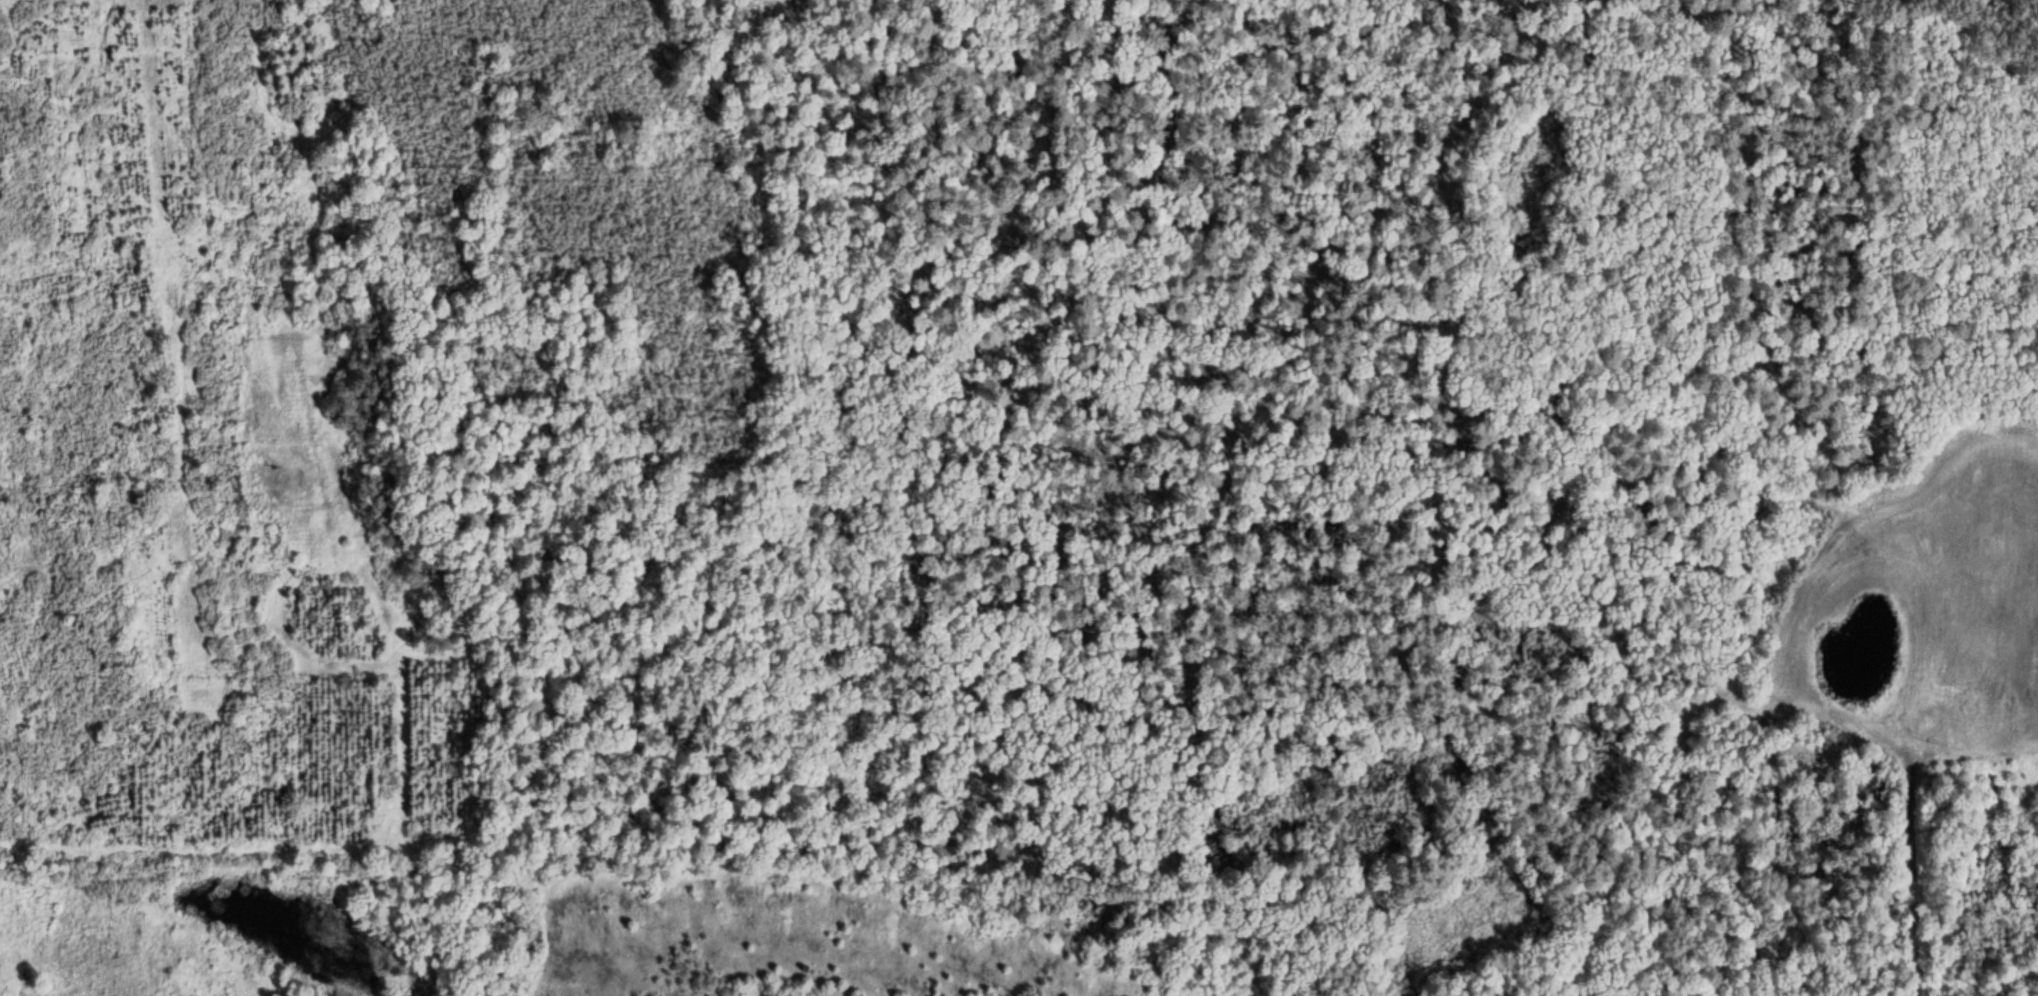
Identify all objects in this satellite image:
road: (1915, 880)

